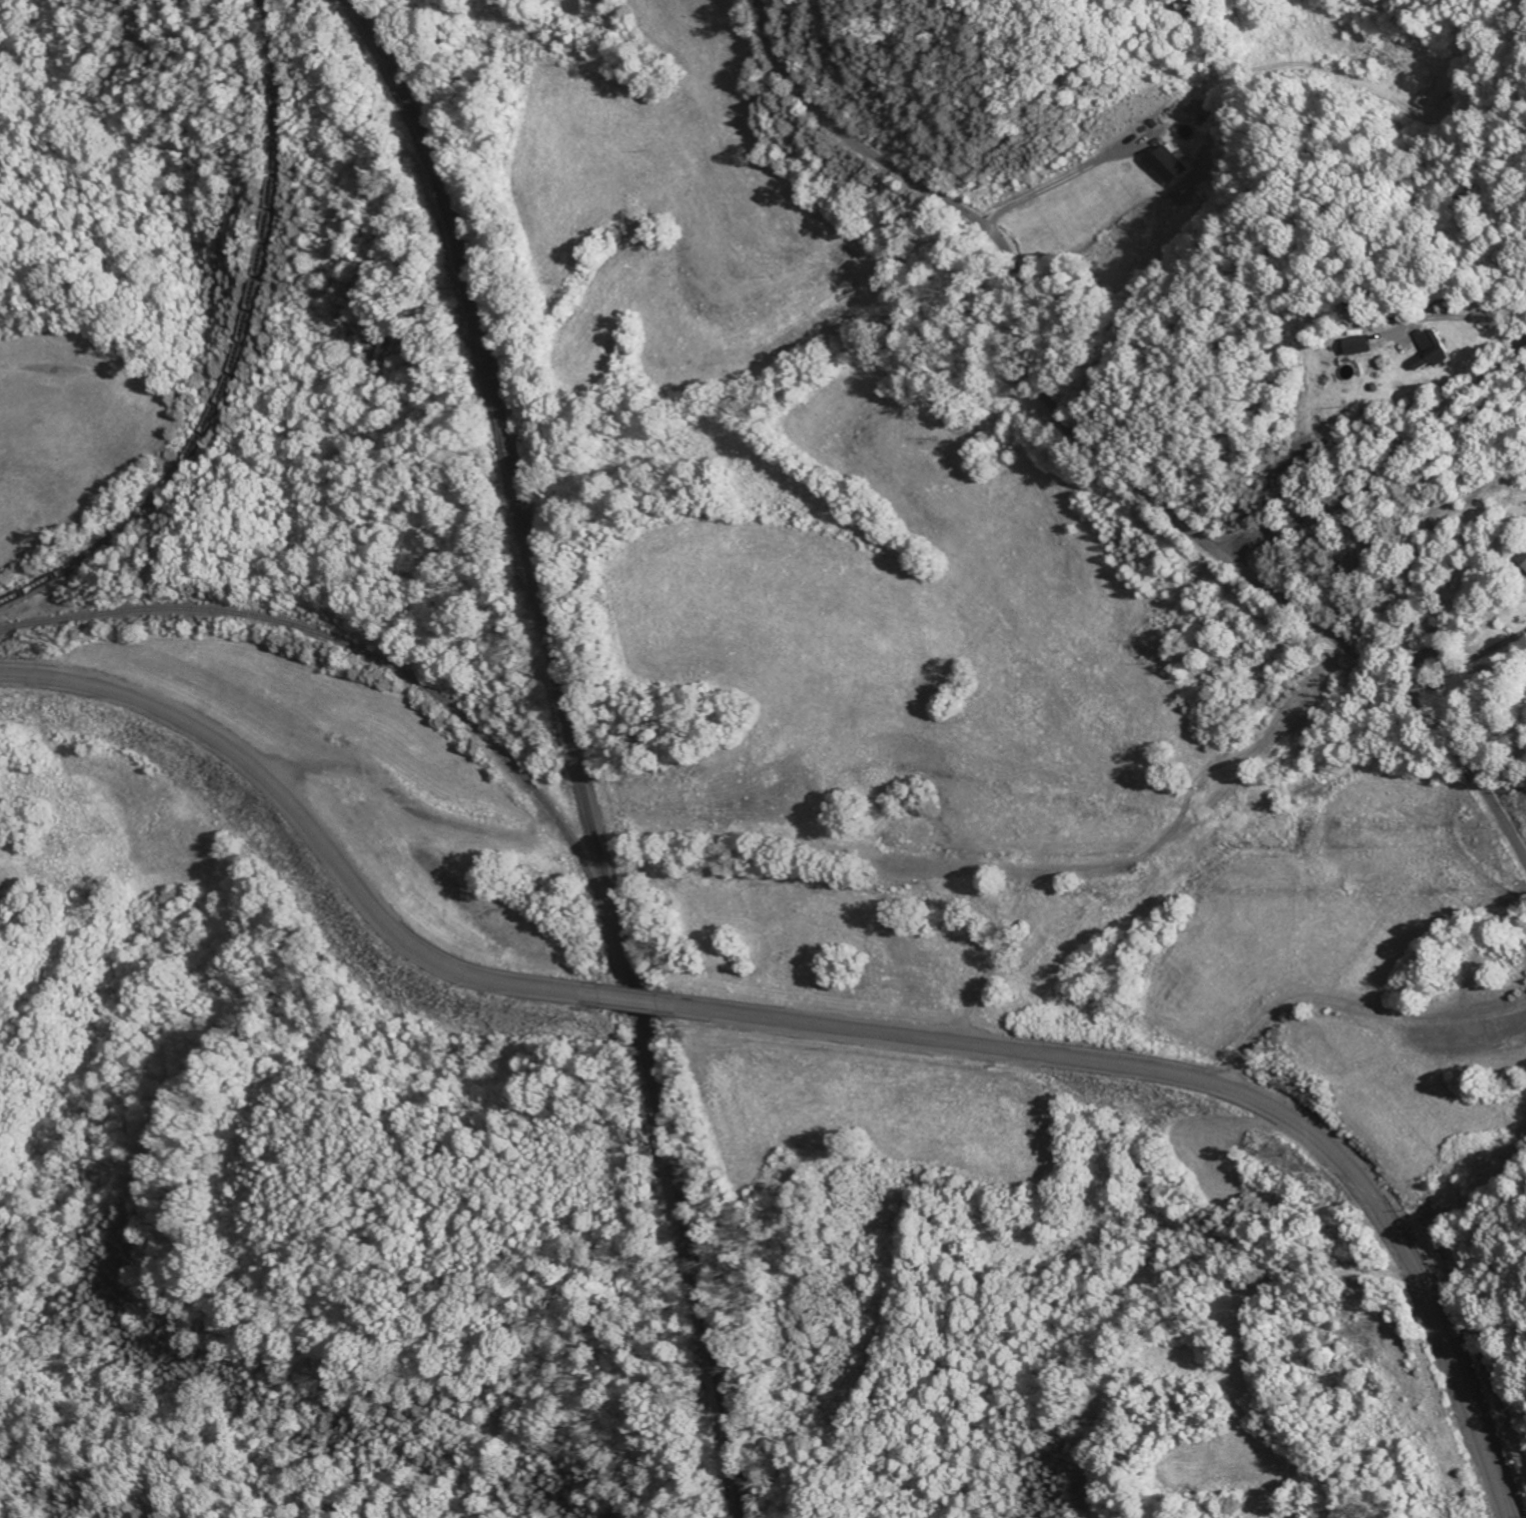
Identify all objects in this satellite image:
building: (1431, 90)
building: (1173, 165)
road: (1052, 184)
building: (1366, 345)
railway: (244, 350)
building: (1437, 350)
road: (1102, 454)
road: (1392, 471)
road: (1464, 660)
railway: (391, 663)
railway: (576, 748)
road: (302, 814)
road: (626, 995)
road: (1214, 1081)

